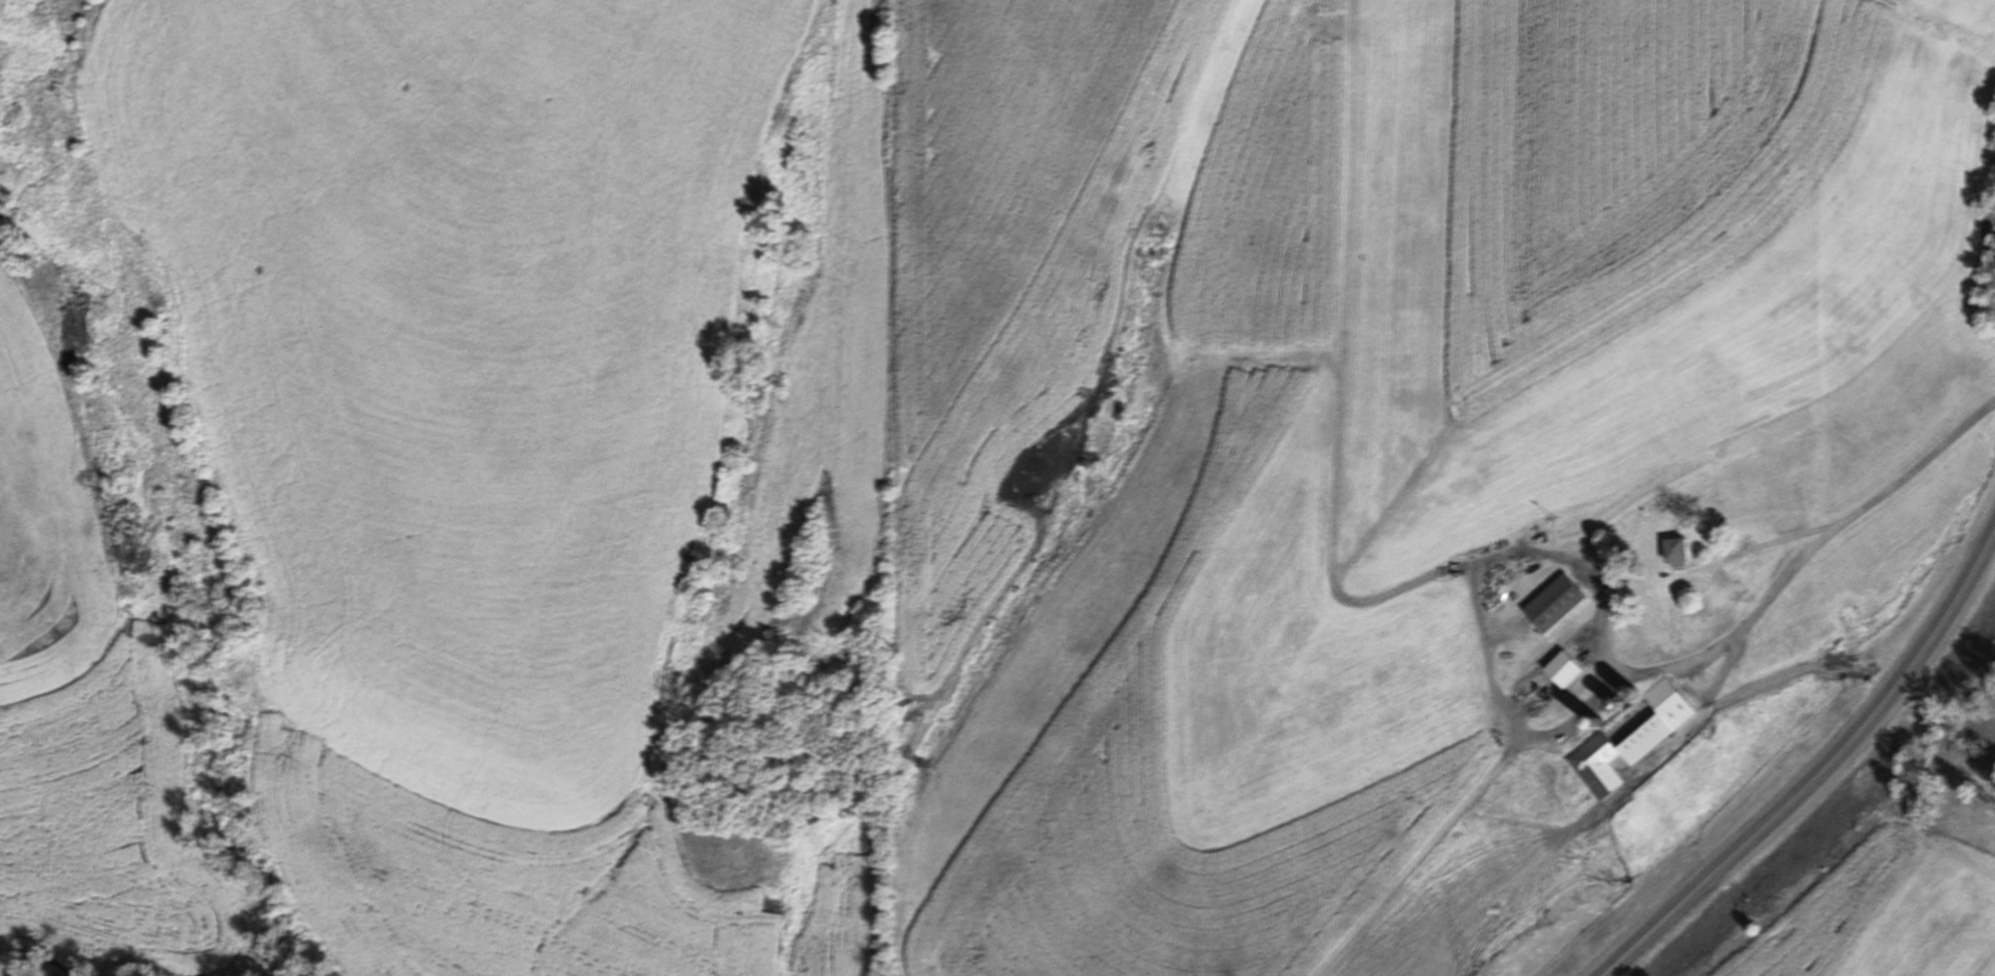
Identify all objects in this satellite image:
road: (1892, 486)
building: (1671, 550)
building: (1552, 604)
building: (1548, 678)
building: (1620, 692)
building: (1628, 736)
road: (1819, 773)

